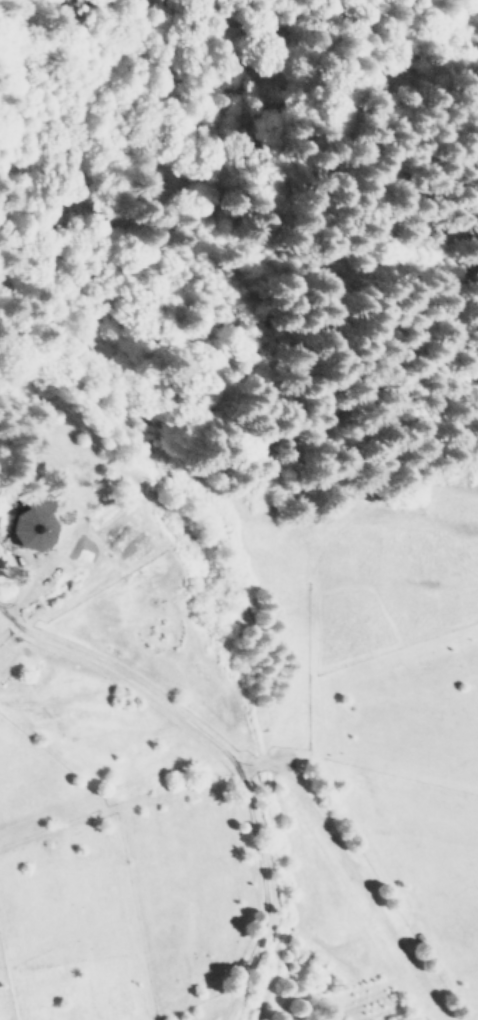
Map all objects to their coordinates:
building: (31, 514)

